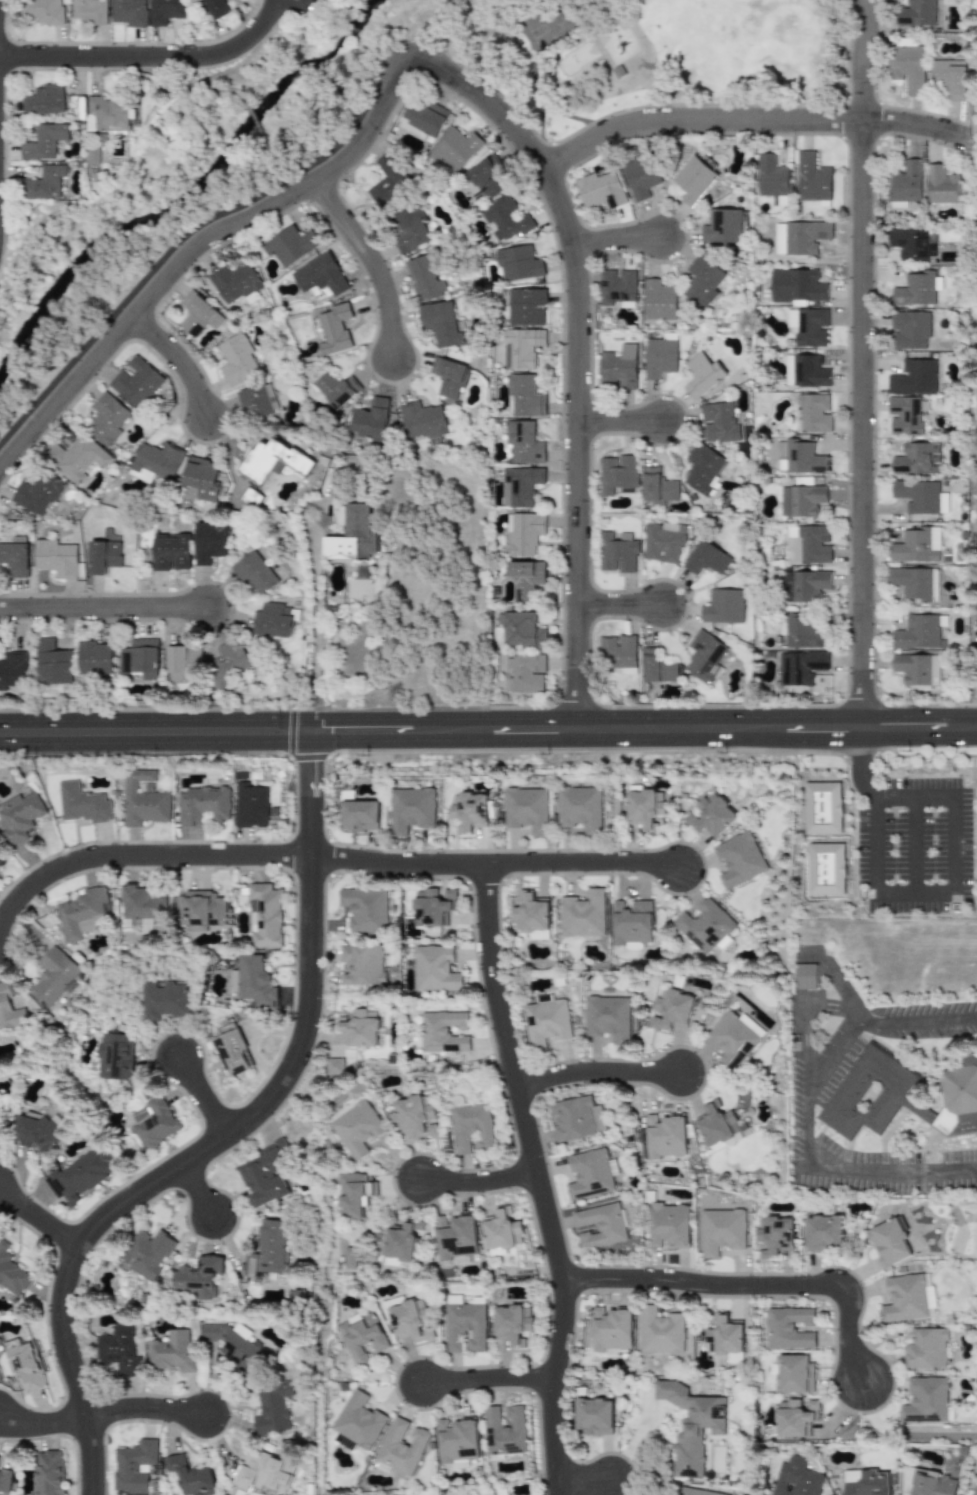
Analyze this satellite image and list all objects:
building: (195, 0)
road: (0, 2)
road: (297, 3)
building: (213, 7)
building: (43, 11)
building: (87, 11)
building: (163, 11)
building: (127, 12)
building: (916, 13)
road: (152, 57)
park: (656, 57)
building: (907, 68)
building: (949, 77)
building: (43, 100)
building: (108, 113)
building: (424, 117)
road: (751, 119)
building: (43, 141)
building: (454, 149)
building: (91, 155)
building: (640, 176)
building: (811, 178)
building: (387, 180)
building: (693, 180)
building: (772, 180)
building: (43, 182)
building: (905, 185)
building: (940, 185)
building: (471, 189)
building: (600, 190)
building: (505, 219)
building: (722, 227)
building: (408, 228)
building: (799, 237)
road: (619, 238)
building: (909, 244)
building: (289, 245)
road: (196, 249)
building: (517, 263)
road: (372, 266)
building: (319, 275)
building: (423, 278)
building: (702, 281)
building: (235, 283)
building: (796, 285)
building: (617, 287)
building: (916, 289)
building: (658, 300)
building: (525, 307)
building: (197, 314)
building: (440, 322)
building: (807, 326)
building: (334, 329)
building: (910, 329)
building: (521, 347)
road: (578, 358)
building: (658, 358)
building: (236, 359)
road: (178, 361)
road: (862, 363)
building: (618, 368)
building: (804, 371)
building: (702, 375)
building: (448, 377)
building: (913, 377)
building: (136, 382)
building: (332, 390)
building: (524, 396)
building: (256, 401)
building: (814, 413)
building: (904, 414)
building: (106, 419)
building: (369, 420)
building: (421, 420)
road: (621, 422)
building: (718, 422)
building: (522, 443)
building: (798, 457)
building: (77, 458)
building: (916, 458)
building: (272, 460)
building: (154, 462)
building: (702, 469)
building: (616, 474)
building: (200, 477)
building: (520, 486)
building: (657, 487)
building: (37, 493)
building: (917, 496)
building: (250, 498)
building: (800, 500)
building: (523, 534)
building: (352, 535)
building: (209, 540)
building: (662, 543)
building: (807, 545)
building: (915, 545)
building: (170, 551)
building: (616, 552)
building: (102, 556)
building: (14, 558)
building: (54, 558)
building: (705, 558)
building: (254, 572)
building: (525, 577)
building: (914, 582)
building: (804, 585)
building: (722, 606)
road: (620, 607)
road: (104, 608)
building: (273, 620)
road: (319, 620)
building: (520, 629)
building: (800, 631)
building: (916, 632)
building: (617, 654)
building: (704, 655)
building: (140, 658)
building: (95, 659)
building: (183, 662)
building: (54, 663)
building: (227, 663)
building: (657, 667)
building: (800, 667)
building: (912, 668)
building: (13, 669)
building: (934, 670)
building: (525, 672)
road: (644, 728)
road: (156, 731)
traffic signals: (284, 731)
traffic signals: (330, 731)
traffic signals: (313, 765)
road: (861, 765)
road: (915, 796)
building: (142, 799)
building: (81, 804)
building: (200, 805)
building: (249, 805)
building: (822, 807)
building: (579, 808)
building: (645, 808)
building: (410, 809)
building: (526, 809)
building: (468, 810)
building: (359, 815)
building: (18, 816)
building: (710, 816)
road: (876, 844)
road: (914, 844)
road: (955, 844)
road: (143, 855)
building: (1, 856)
building: (738, 859)
road: (492, 865)
building: (825, 868)
road: (915, 893)
building: (433, 906)
building: (142, 907)
building: (365, 909)
building: (201, 910)
building: (83, 913)
building: (582, 914)
building: (265, 916)
building: (531, 916)
building: (631, 922)
building: (705, 927)
building: (362, 964)
building: (435, 968)
building: (809, 976)
building: (55, 977)
building: (255, 981)
road: (838, 985)
building: (169, 1000)
building: (10, 1007)
building: (671, 1010)
building: (608, 1017)
building: (546, 1021)
building: (752, 1026)
building: (361, 1028)
building: (443, 1032)
road: (807, 1033)
road: (842, 1037)
building: (731, 1039)
building: (235, 1051)
building: (121, 1056)
building: (335, 1066)
road: (599, 1073)
building: (900, 1094)
road: (208, 1096)
building: (418, 1116)
building: (576, 1118)
building: (159, 1122)
building: (717, 1124)
building: (358, 1127)
building: (471, 1128)
building: (39, 1133)
building: (665, 1136)
road: (227, 1139)
road: (894, 1166)
building: (589, 1174)
building: (83, 1175)
building: (272, 1175)
road: (538, 1179)
road: (482, 1181)
road: (206, 1193)
building: (358, 1195)
road: (40, 1219)
building: (600, 1225)
building: (670, 1225)
building: (501, 1230)
building: (723, 1230)
building: (825, 1233)
building: (776, 1236)
building: (456, 1237)
building: (890, 1242)
building: (405, 1244)
building: (276, 1250)
building: (154, 1252)
building: (355, 1258)
building: (11, 1273)
building: (206, 1277)
road: (749, 1285)
building: (301, 1295)
building: (906, 1298)
building: (932, 1301)
building: (410, 1319)
building: (513, 1324)
building: (466, 1326)
building: (612, 1328)
building: (790, 1328)
building: (661, 1331)
building: (364, 1337)
building: (728, 1337)
building: (239, 1345)
building: (929, 1349)
building: (120, 1351)
building: (175, 1352)
building: (24, 1365)
building: (796, 1374)
road: (489, 1378)
building: (927, 1400)
building: (276, 1408)
road: (148, 1409)
building: (594, 1416)
building: (796, 1418)
building: (361, 1421)
building: (693, 1425)
road: (43, 1426)
building: (505, 1431)
building: (346, 1442)
building: (457, 1442)
building: (403, 1446)
building: (135, 1467)
building: (268, 1472)
building: (48, 1473)
building: (192, 1476)
building: (796, 1478)
road: (582, 1480)
building: (6, 1483)
building: (867, 1483)
building: (933, 1484)
building: (974, 1490)
building: (699, 1492)

